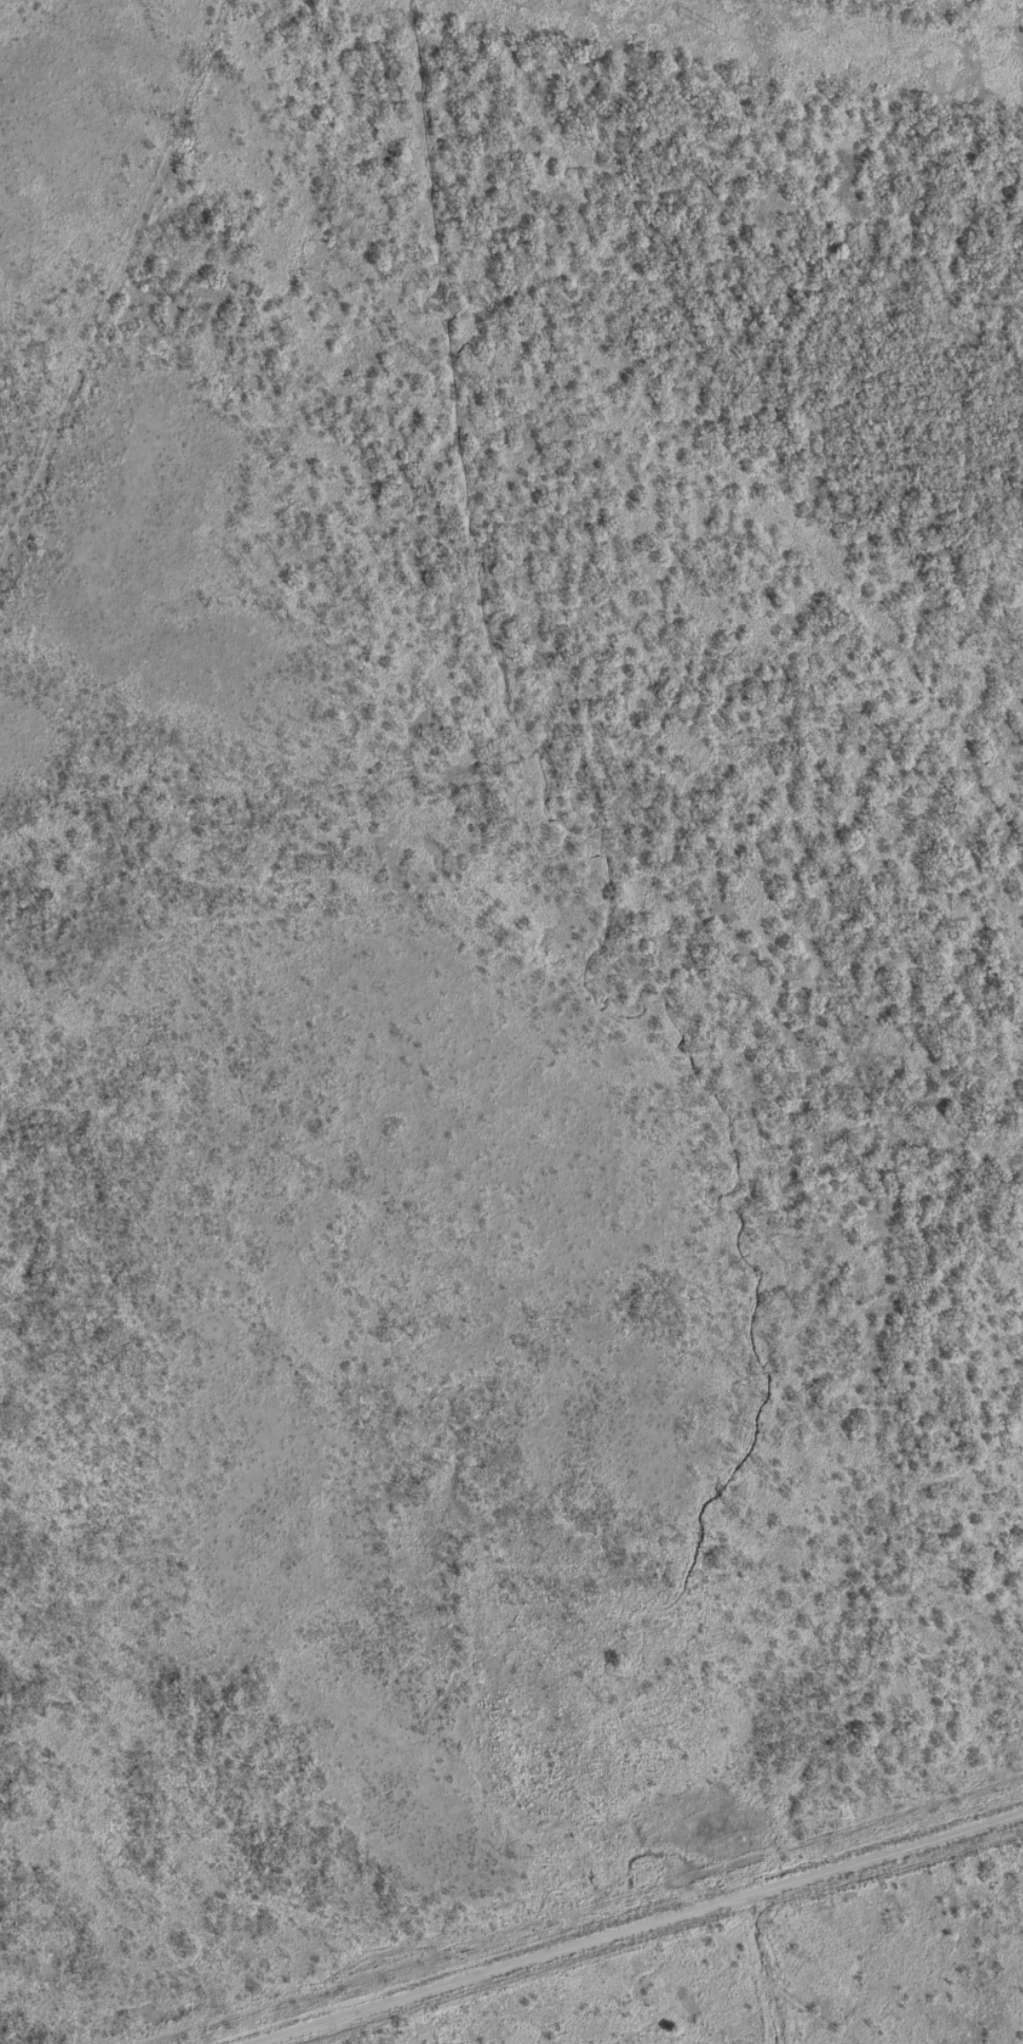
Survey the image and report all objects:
power tower: (705, 28)
road: (665, 1929)

